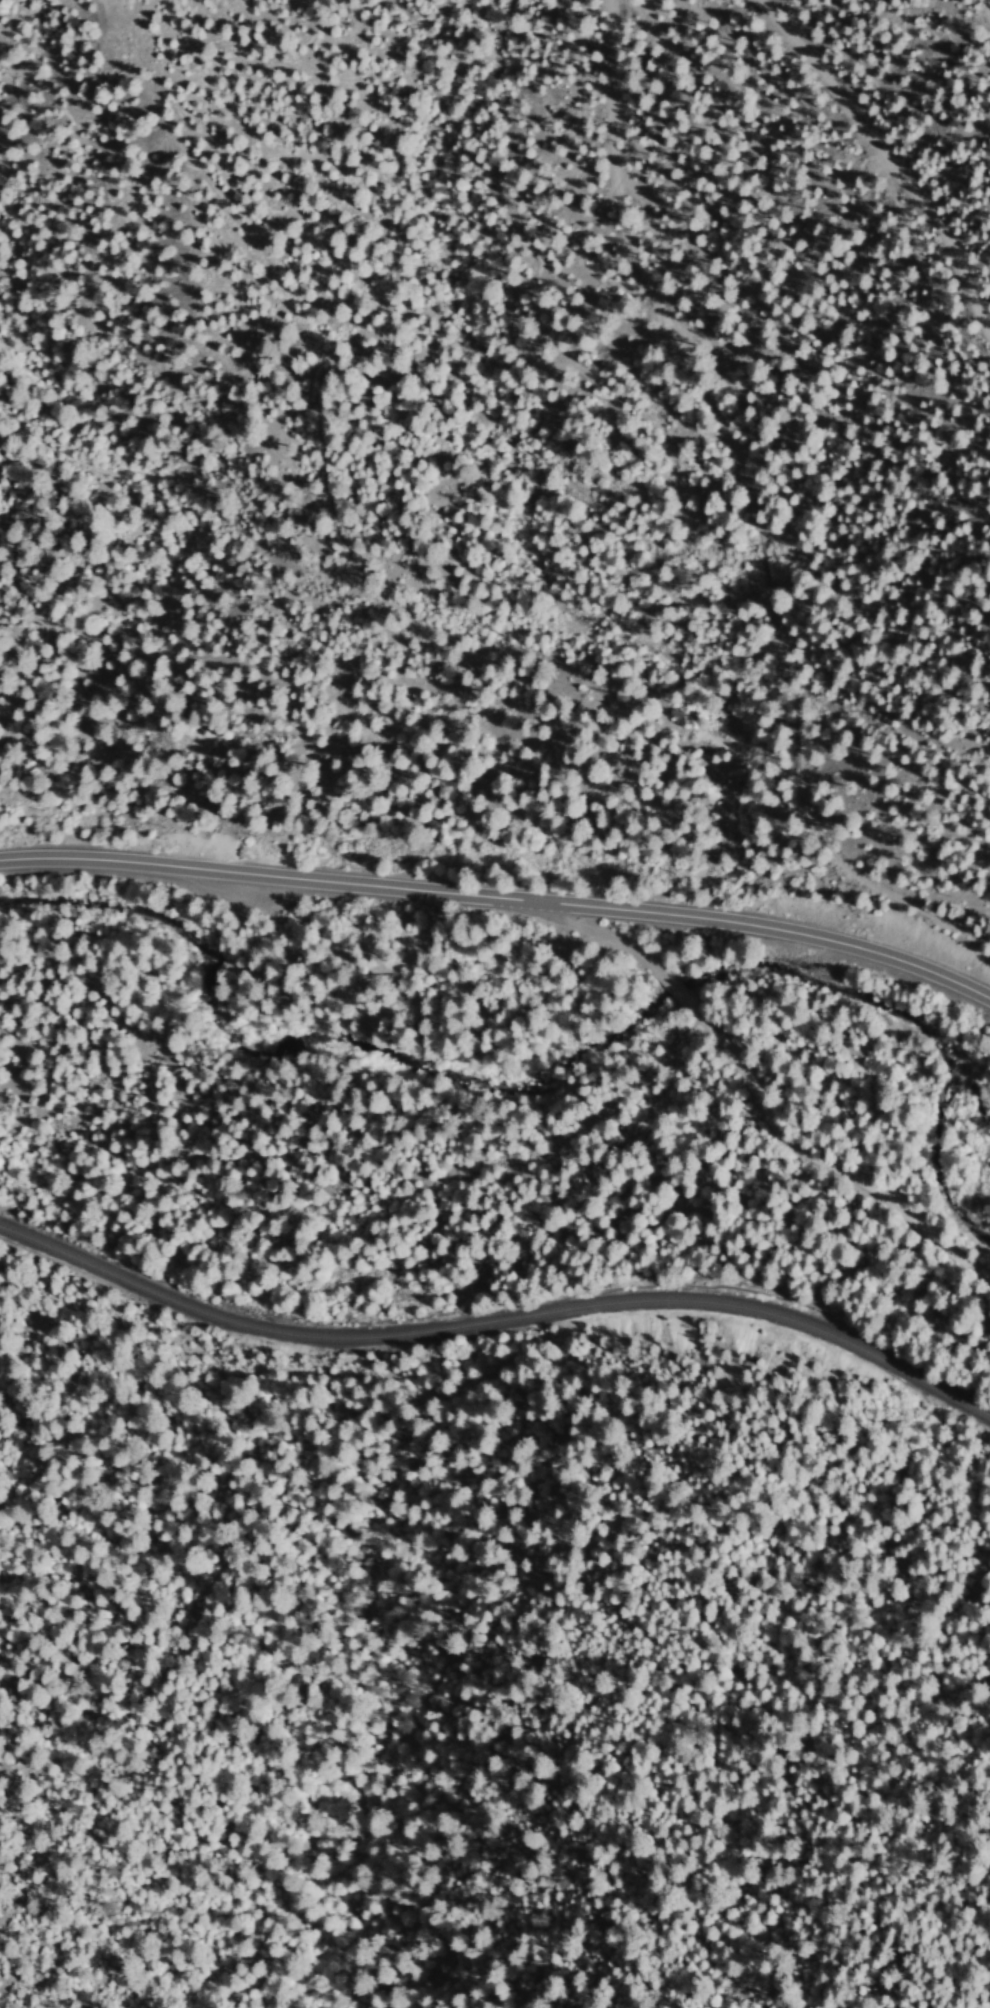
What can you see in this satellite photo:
road: (694, 477)
road: (501, 896)
road: (789, 1137)
railway: (496, 1318)

